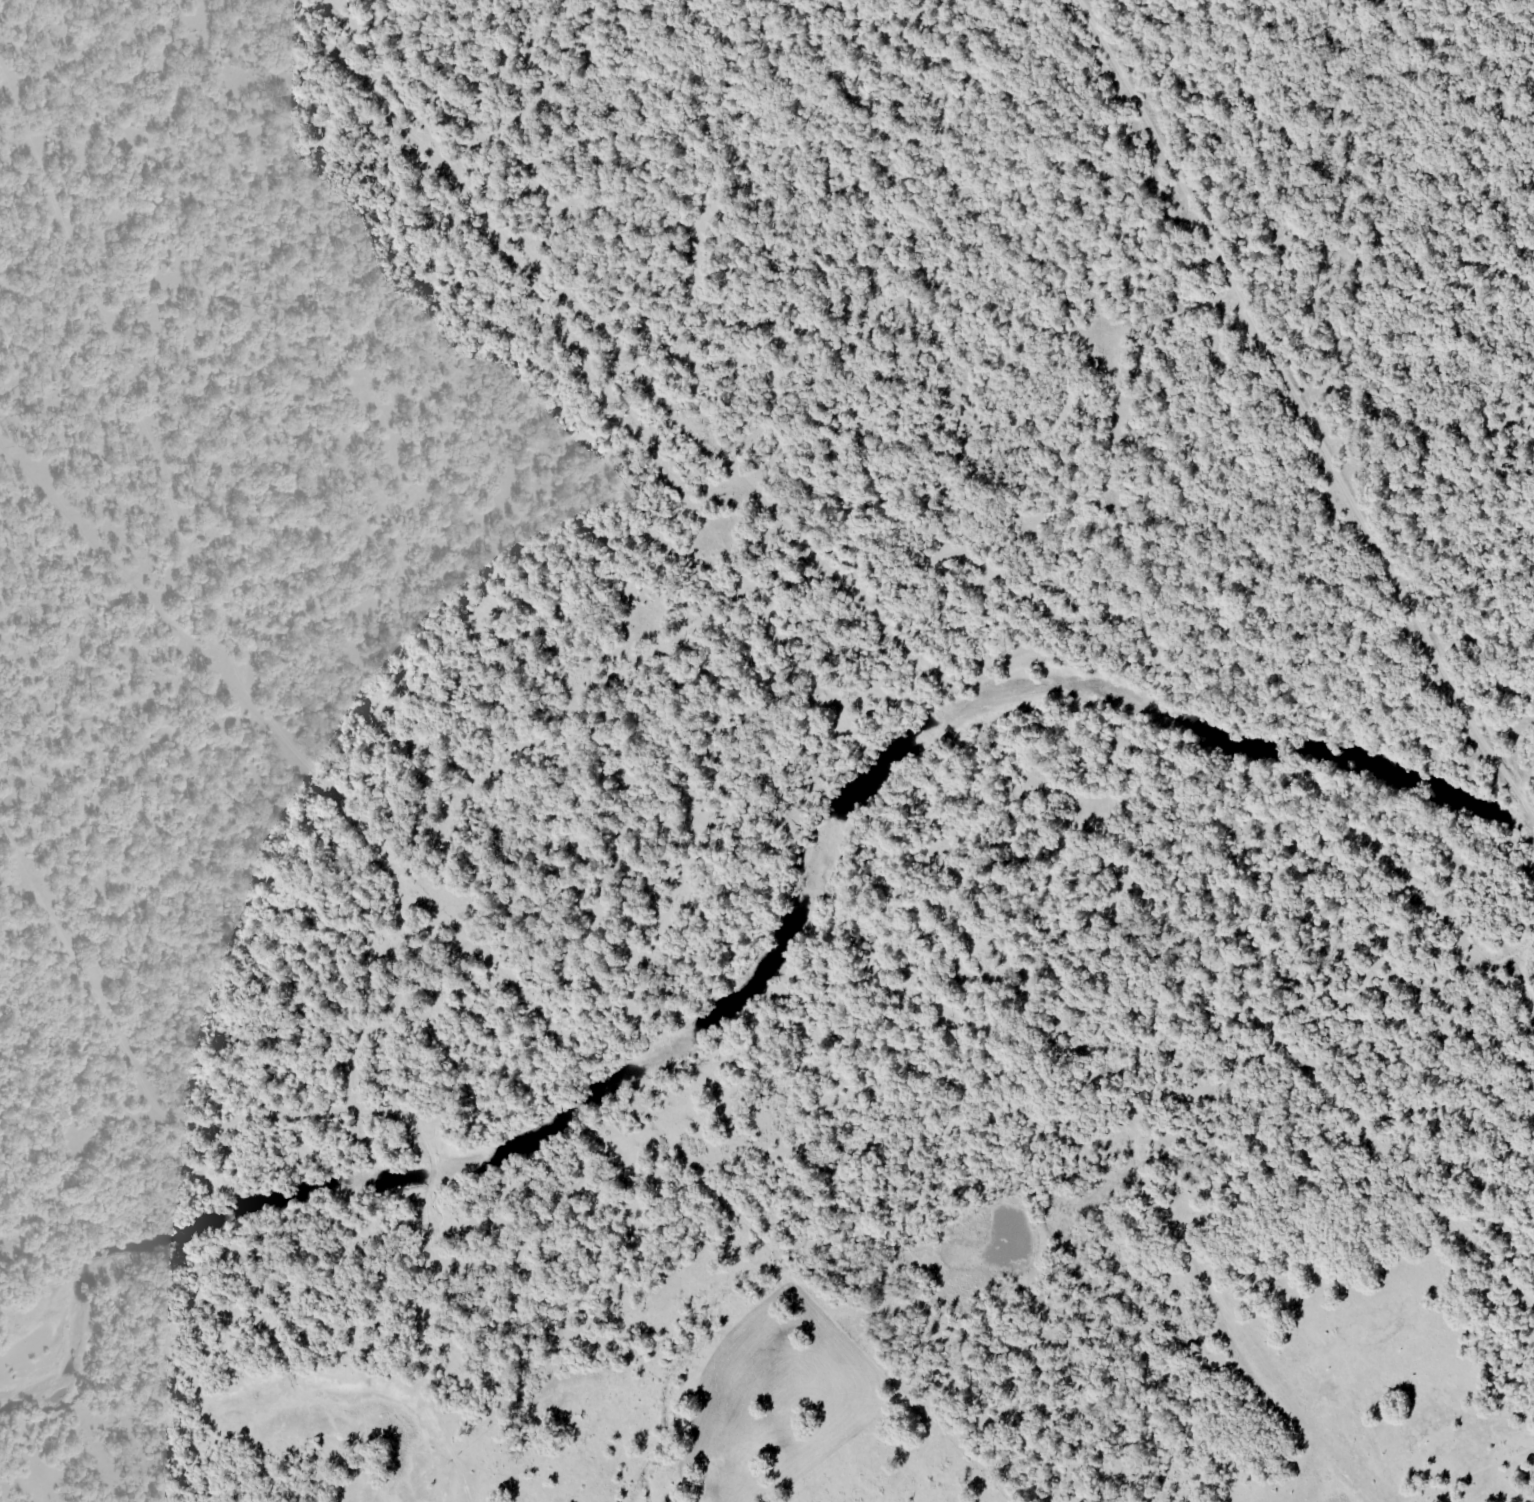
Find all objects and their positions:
road: (1296, 388)

